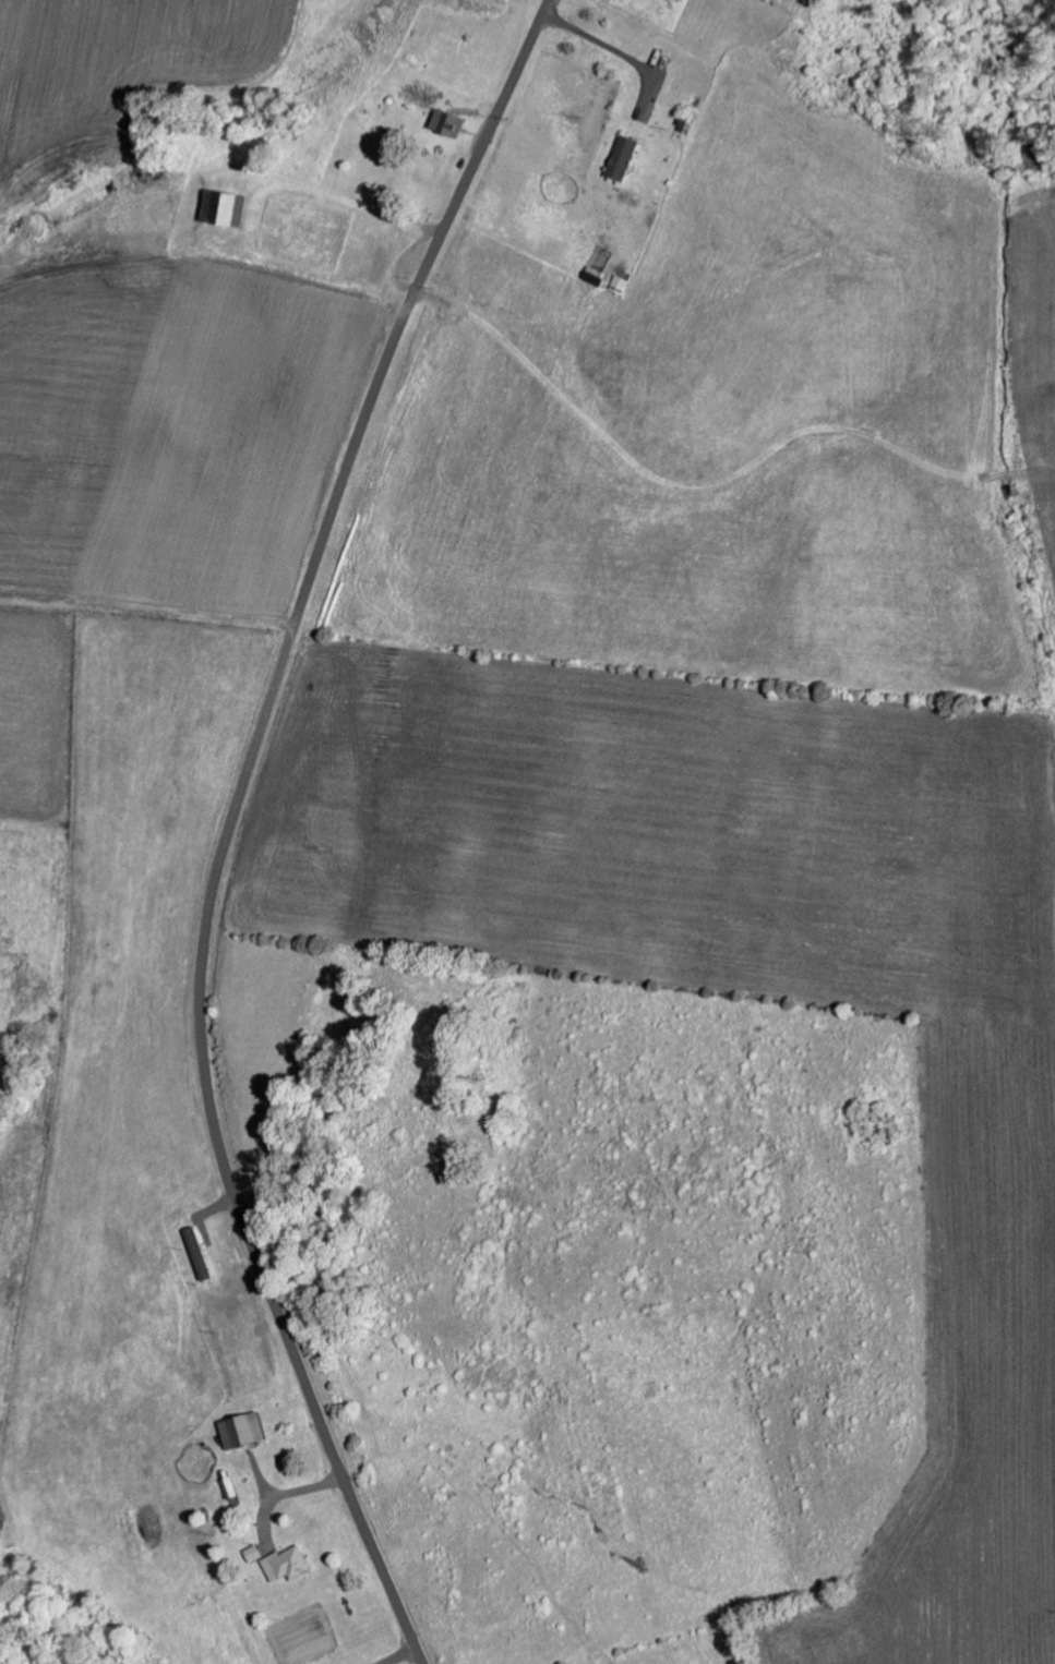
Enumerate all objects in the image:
building: (447, 122)
building: (625, 157)
building: (226, 207)
road: (230, 823)
building: (202, 1254)
building: (247, 1432)
building: (290, 1565)

